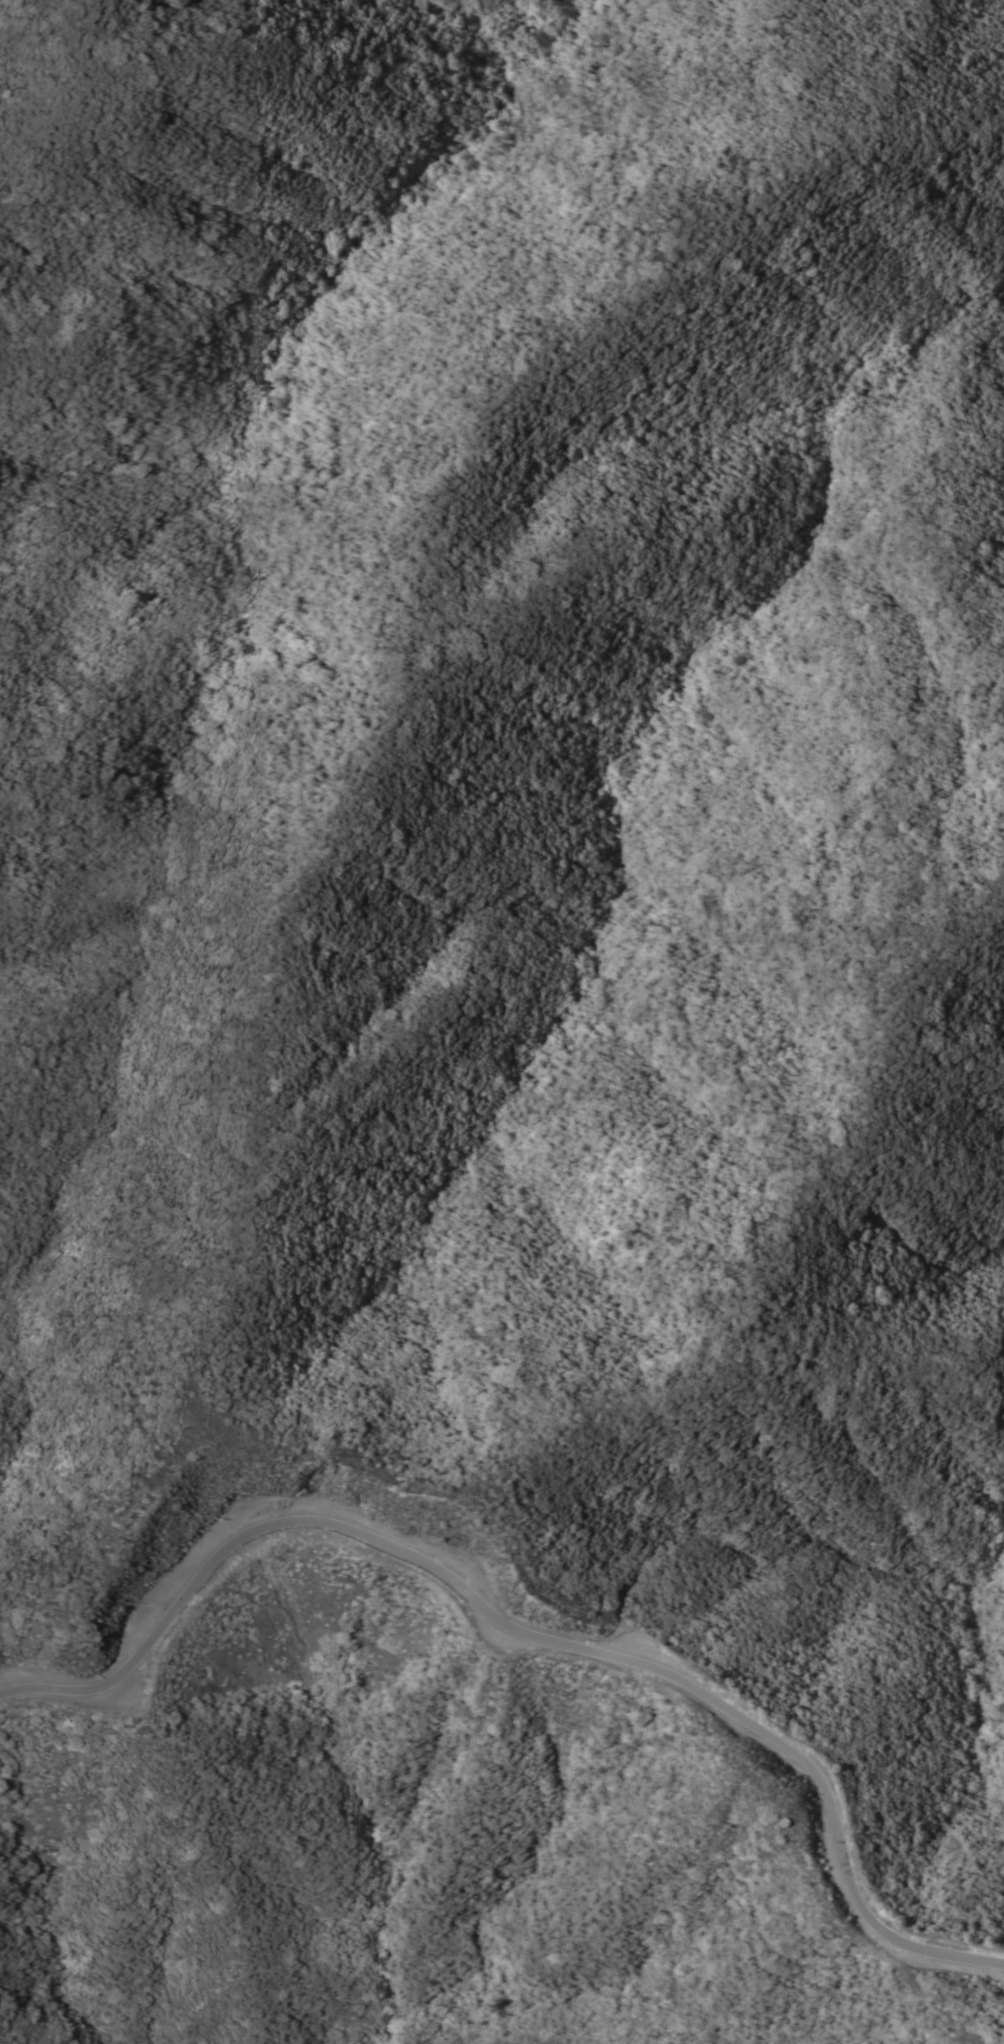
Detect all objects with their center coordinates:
road: (527, 1631)

